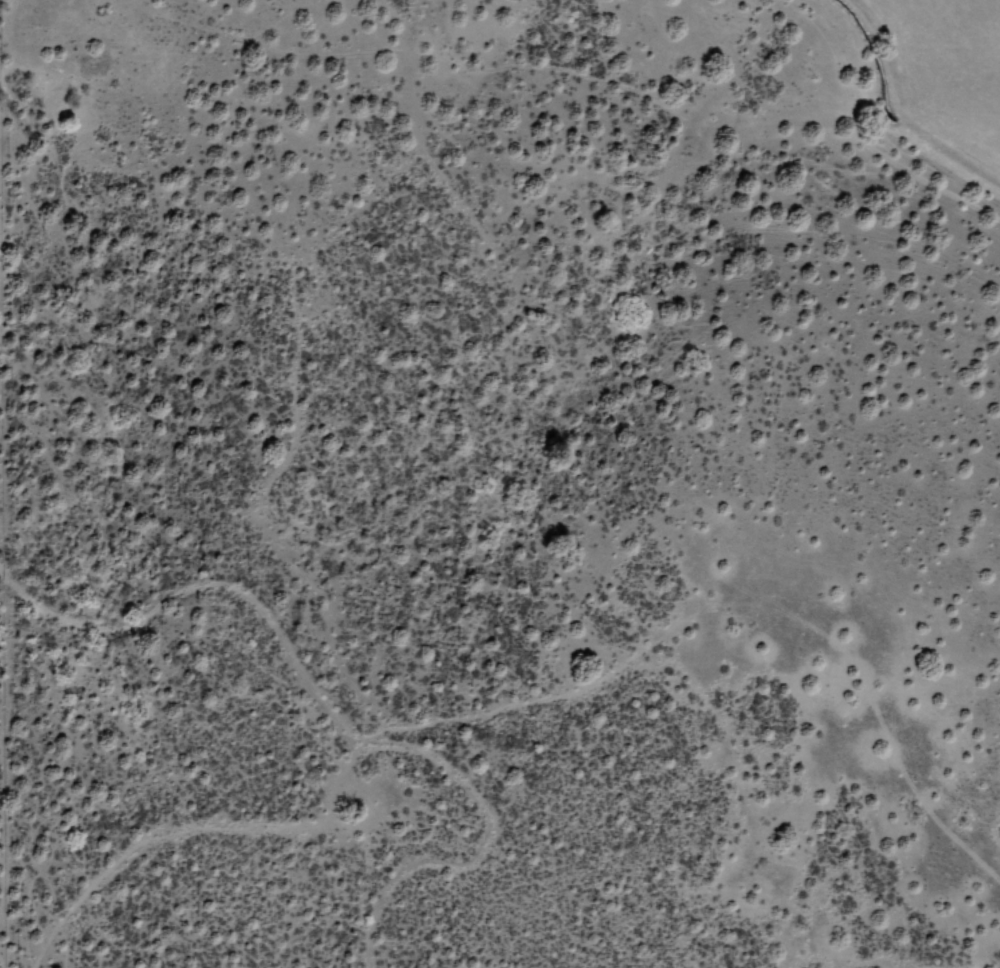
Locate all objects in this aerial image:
road: (962, 54)

